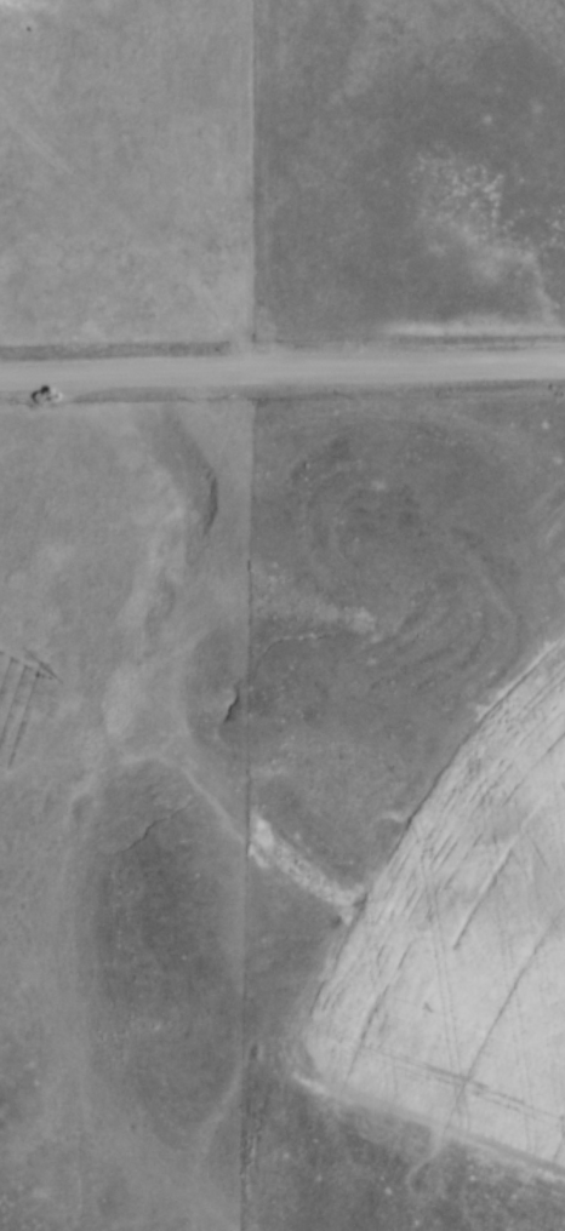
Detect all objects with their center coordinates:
crop: (559, 4)
road: (282, 374)
crop: (460, 944)

